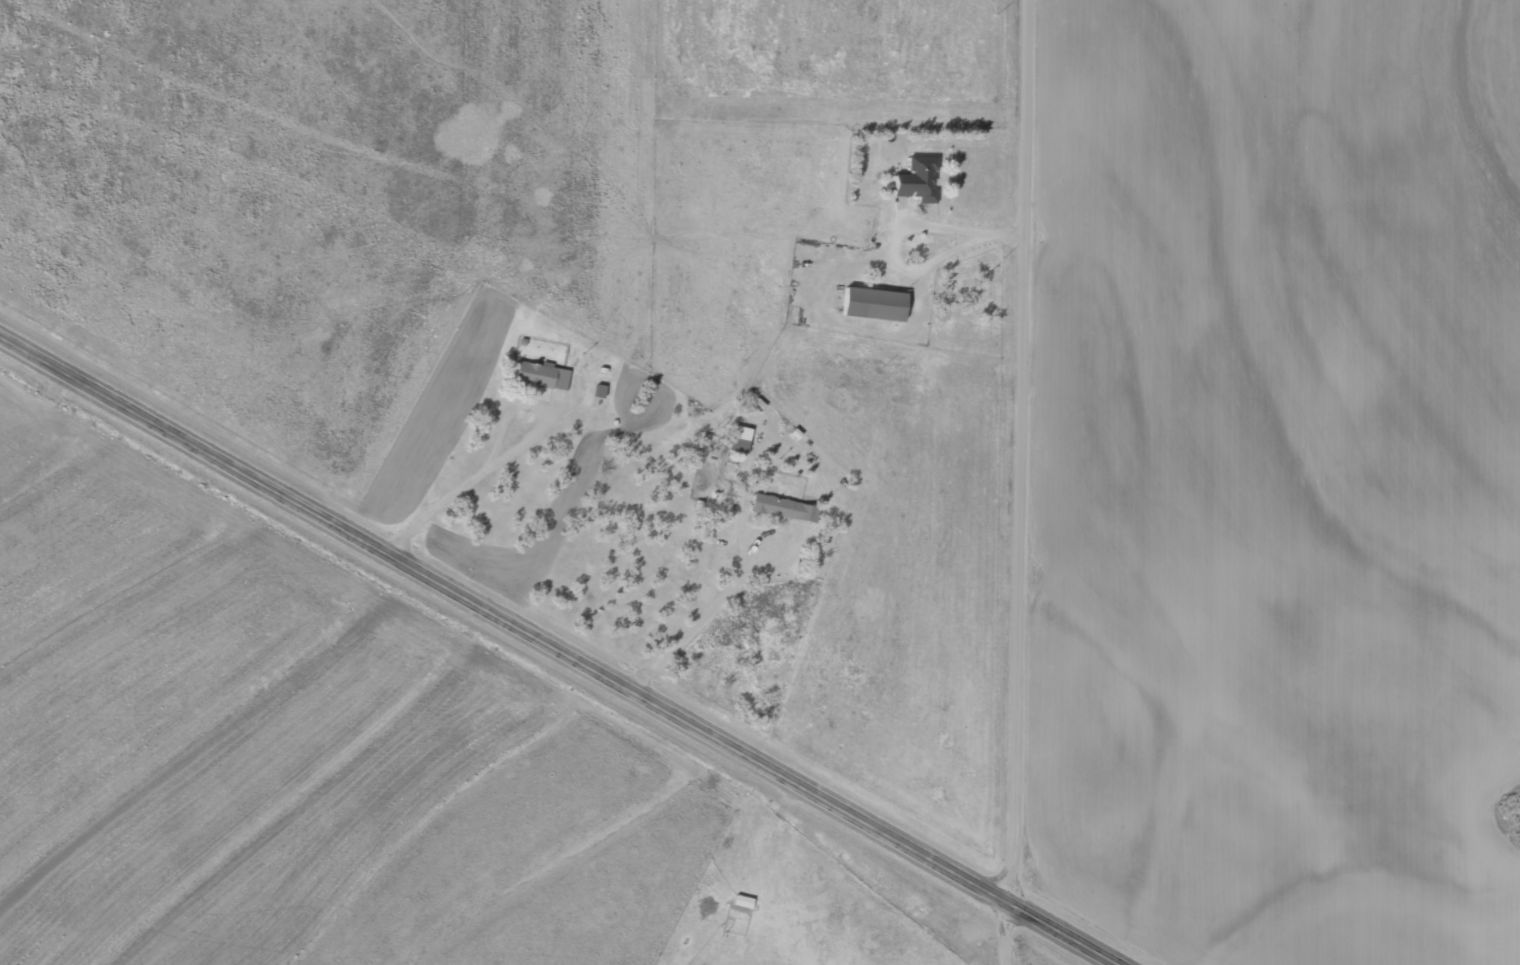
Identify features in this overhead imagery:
building: (919, 178)
building: (876, 303)
building: (543, 374)
building: (741, 438)
road: (1023, 451)
building: (786, 507)
road: (561, 650)
building: (744, 901)
road: (1330, 912)
road: (1011, 934)

